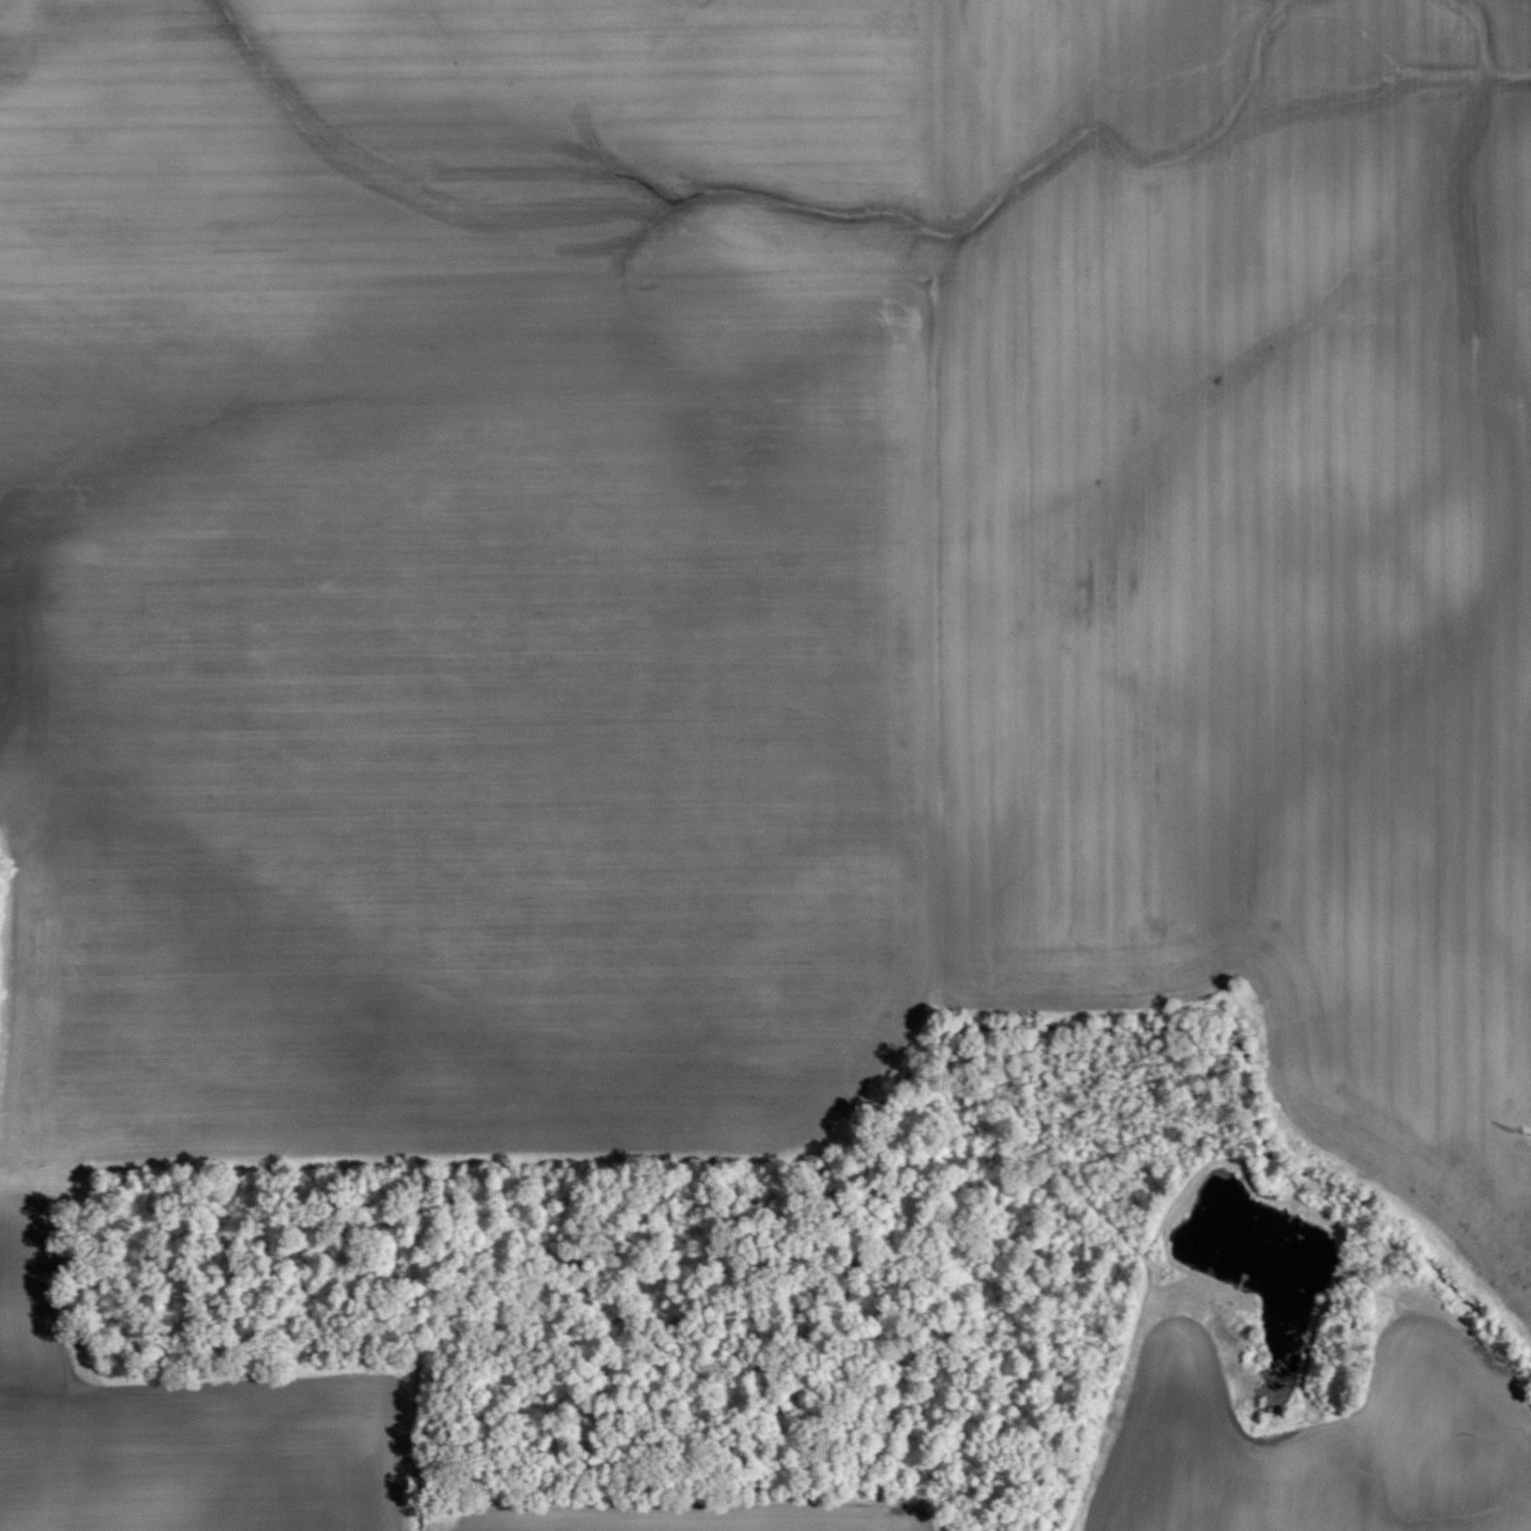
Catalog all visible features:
power tower: (1530, 1131)

